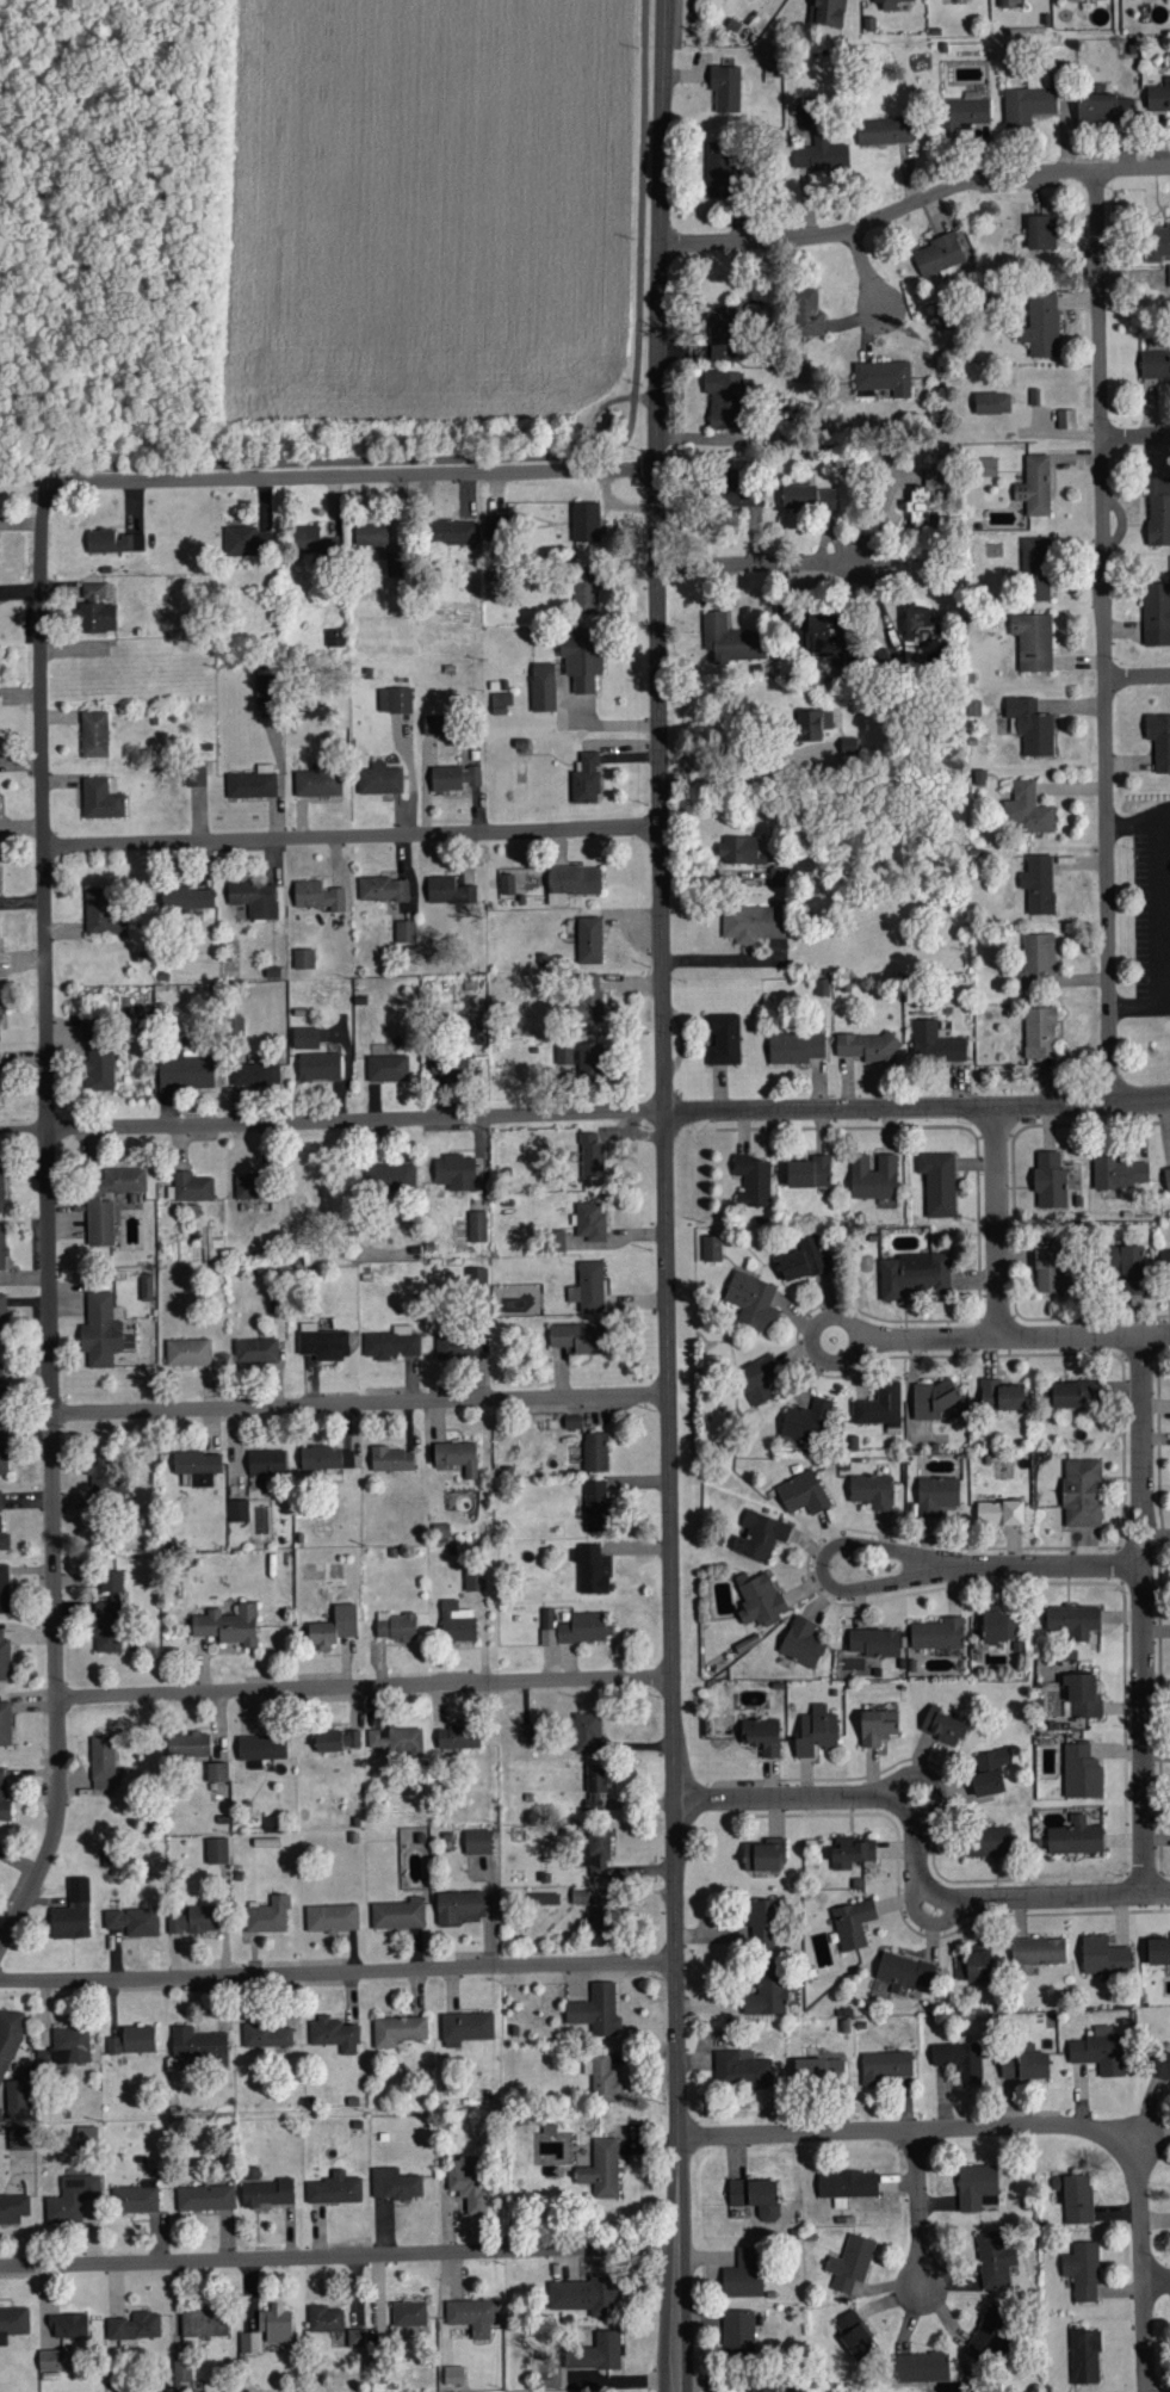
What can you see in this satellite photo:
building: (896, 5)
building: (827, 12)
building: (725, 88)
building: (1158, 97)
building: (1029, 100)
building: (1103, 109)
building: (964, 113)
building: (884, 131)
building: (821, 154)
road: (60, 163)
building: (718, 169)
road: (914, 202)
building: (1040, 236)
building: (1160, 241)
building: (939, 256)
road: (866, 270)
building: (1169, 277)
building: (806, 314)
building: (1041, 327)
building: (723, 333)
building: (1154, 365)
building: (881, 379)
building: (724, 398)
building: (991, 403)
building: (1065, 419)
road: (1135, 437)
road: (534, 456)
building: (986, 468)
road: (352, 475)
building: (1034, 487)
building: (807, 499)
building: (920, 506)
building: (1158, 512)
building: (586, 523)
building: (494, 526)
building: (451, 533)
building: (370, 534)
building: (112, 542)
building: (246, 542)
building: (311, 542)
road: (763, 562)
building: (394, 564)
building: (1035, 569)
building: (584, 592)
building: (95, 611)
building: (1156, 614)
building: (918, 624)
building: (827, 636)
road: (1103, 637)
building: (730, 641)
building: (1033, 642)
building: (581, 657)
road: (1137, 676)
building: (543, 687)
building: (266, 692)
building: (501, 699)
building: (395, 700)
building: (433, 725)
road: (599, 725)
building: (812, 725)
building: (1030, 727)
building: (94, 735)
building: (1159, 740)
road: (741, 749)
road: (283, 774)
building: (196, 775)
building: (453, 778)
building: (379, 780)
building: (586, 780)
building: (252, 784)
building: (317, 784)
building: (101, 798)
building: (1027, 809)
road: (1139, 822)
road: (351, 835)
building: (738, 853)
building: (778, 878)
building: (571, 883)
building: (507, 884)
building: (1038, 885)
building: (383, 890)
building: (448, 891)
building: (317, 897)
building: (185, 898)
building: (254, 900)
parking lot: (1149, 906)
building: (101, 914)
building: (754, 925)
building: (406, 932)
road: (1154, 935)
building: (589, 940)
building: (1036, 958)
building: (303, 959)
building: (589, 997)
building: (0, 1002)
building: (88, 1030)
building: (1039, 1032)
building: (305, 1037)
building: (724, 1039)
building: (935, 1042)
building: (794, 1046)
building: (867, 1046)
building: (564, 1053)
building: (590, 1059)
building: (448, 1064)
building: (320, 1067)
building: (388, 1067)
building: (100, 1069)
building: (186, 1069)
building: (255, 1074)
building: (0, 1093)
road: (584, 1099)
road: (608, 1112)
road: (24, 1129)
building: (589, 1154)
building: (456, 1172)
building: (809, 1172)
building: (1116, 1173)
building: (388, 1176)
building: (873, 1176)
building: (1166, 1178)
building: (754, 1179)
building: (1050, 1180)
building: (937, 1182)
building: (1, 1185)
building: (192, 1186)
building: (247, 1187)
road: (666, 1195)
building: (109, 1200)
building: (589, 1220)
road: (997, 1223)
road: (49, 1224)
building: (476, 1225)
building: (556, 1240)
building: (2, 1247)
building: (711, 1248)
building: (803, 1259)
building: (1126, 1266)
building: (1052, 1271)
building: (912, 1274)
building: (481, 1279)
building: (146, 1286)
building: (587, 1287)
building: (753, 1300)
building: (2, 1316)
building: (100, 1331)
building: (578, 1336)
road: (1017, 1337)
road: (812, 1340)
building: (322, 1342)
building: (391, 1342)
building: (458, 1346)
building: (255, 1350)
building: (187, 1352)
building: (757, 1379)
building: (1, 1385)
building: (1073, 1392)
building: (1001, 1395)
building: (934, 1399)
road: (361, 1404)
building: (879, 1404)
building: (572, 1421)
building: (805, 1421)
building: (595, 1451)
building: (2, 1452)
building: (457, 1455)
building: (348, 1458)
building: (390, 1459)
building: (322, 1460)
building: (266, 1461)
building: (193, 1466)
building: (105, 1475)
building: (871, 1490)
building: (1081, 1491)
building: (801, 1492)
building: (936, 1494)
building: (595, 1504)
building: (237, 1509)
building: (999, 1512)
building: (4, 1534)
building: (760, 1535)
road: (916, 1562)
building: (589, 1568)
building: (473, 1578)
building: (4, 1588)
building: (757, 1597)
building: (107, 1613)
road: (1144, 1617)
building: (1073, 1620)
building: (457, 1621)
building: (228, 1625)
building: (395, 1626)
building: (547, 1626)
building: (999, 1626)
building: (334, 1627)
building: (584, 1627)
building: (937, 1633)
building: (801, 1642)
building: (873, 1642)
building: (4, 1658)
road: (365, 1688)
building: (1083, 1696)
building: (5, 1724)
building: (877, 1726)
building: (943, 1726)
building: (587, 1731)
building: (816, 1731)
building: (526, 1733)
building: (761, 1735)
building: (457, 1737)
building: (335, 1739)
building: (397, 1739)
building: (188, 1745)
building: (261, 1747)
building: (993, 1759)
building: (103, 1762)
building: (217, 1772)
building: (1082, 1772)
road: (934, 1775)
building: (986, 1782)
building: (595, 1787)
building: (2, 1794)
building: (1075, 1837)
building: (477, 1841)
building: (986, 1842)
building: (216, 1850)
building: (595, 1852)
building: (848, 1853)
road: (918, 1855)
building: (763, 1856)
building: (578, 1896)
building: (544, 1899)
building: (462, 1906)
building: (72, 1911)
building: (397, 1914)
building: (267, 1915)
building: (602, 1916)
building: (330, 1917)
road: (928, 1918)
building: (193, 1921)
building: (132, 1922)
building: (760, 1923)
building: (852, 1923)
building: (1169, 1933)
building: (1038, 1951)
building: (1158, 1951)
building: (1103, 1955)
building: (973, 1966)
road: (338, 1972)
building: (902, 1972)
building: (767, 1991)
building: (595, 2010)
building: (465, 2028)
building: (397, 2031)
building: (334, 2034)
building: (266, 2035)
building: (8, 2036)
building: (132, 2040)
building: (197, 2044)
building: (69, 2046)
building: (1100, 2051)
building: (959, 2059)
building: (1162, 2064)
building: (886, 2065)
building: (1023, 2065)
building: (743, 2067)
building: (818, 2070)
building: (602, 2078)
building: (17, 2100)
road: (910, 2130)
building: (86, 2137)
building: (18, 2138)
building: (601, 2169)
building: (250, 2174)
building: (466, 2183)
building: (394, 2184)
building: (847, 2186)
building: (976, 2186)
building: (334, 2189)
building: (266, 2194)
building: (755, 2196)
building: (72, 2198)
building: (205, 2198)
building: (1075, 2198)
building: (134, 2200)
building: (13, 2208)
road: (920, 2208)
road: (339, 2256)
building: (993, 2260)
building: (850, 2263)
road: (1143, 2266)
building: (1082, 2270)
building: (743, 2274)
road: (1157, 2281)
building: (586, 2295)
building: (408, 2314)
building: (472, 2316)
building: (324, 2319)
building: (13, 2323)
building: (203, 2323)
building: (276, 2324)
building: (68, 2325)
building: (135, 2326)
building: (738, 2334)
building: (854, 2335)
building: (988, 2335)
building: (355, 2338)
building: (250, 2343)
building: (596, 2353)
building: (1084, 2356)
building: (918, 2367)
building: (181, 2371)
building: (452, 2375)
building: (762, 2388)

